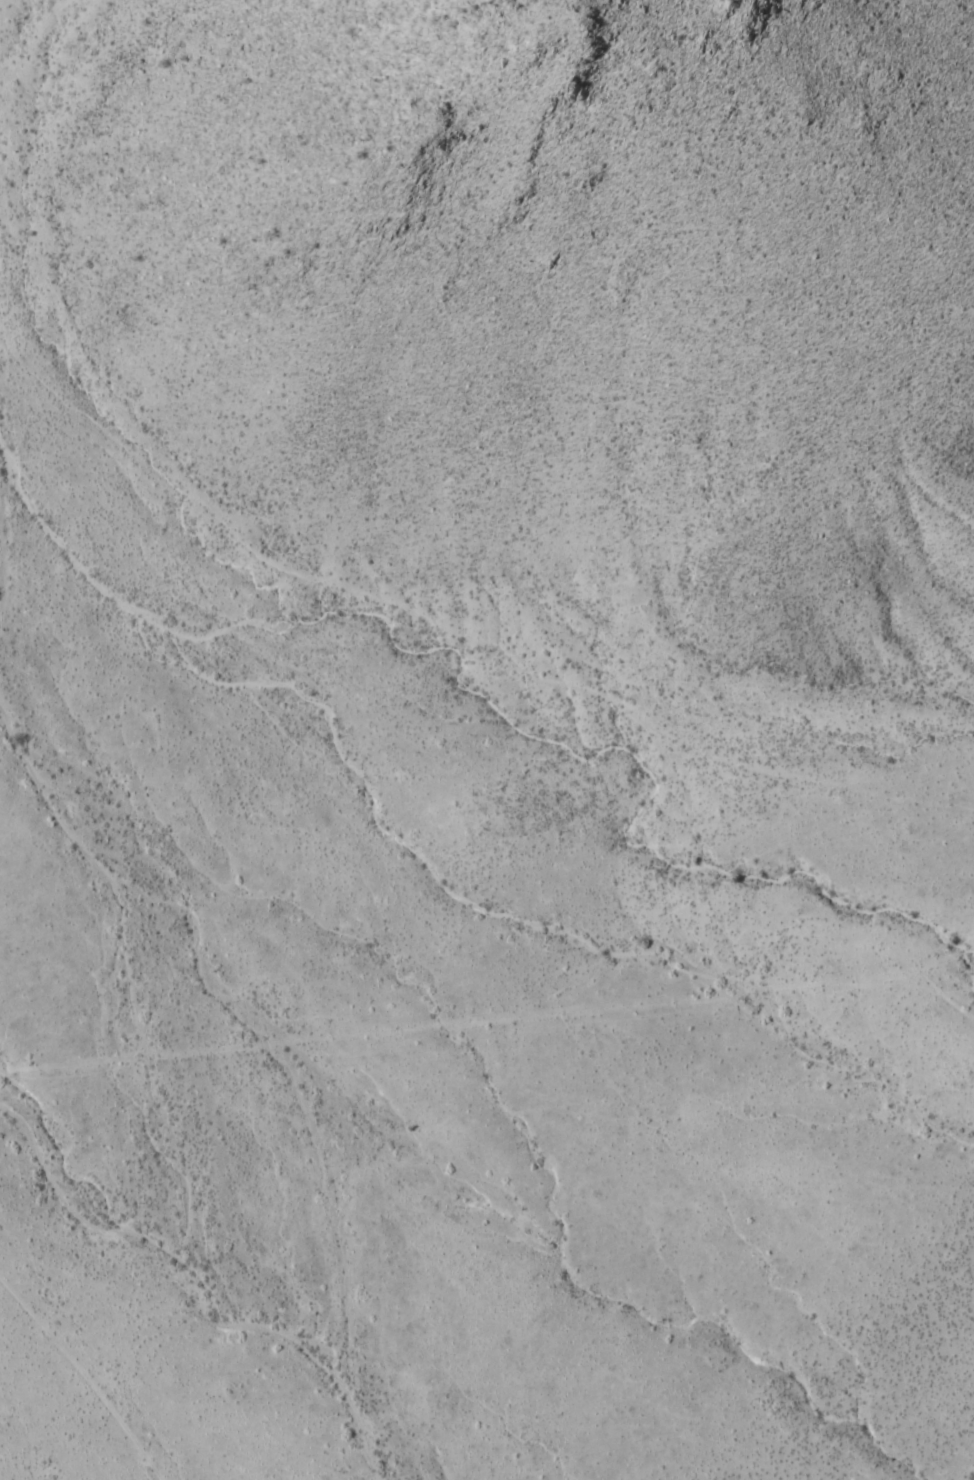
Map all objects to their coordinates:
road: (83, 1376)

